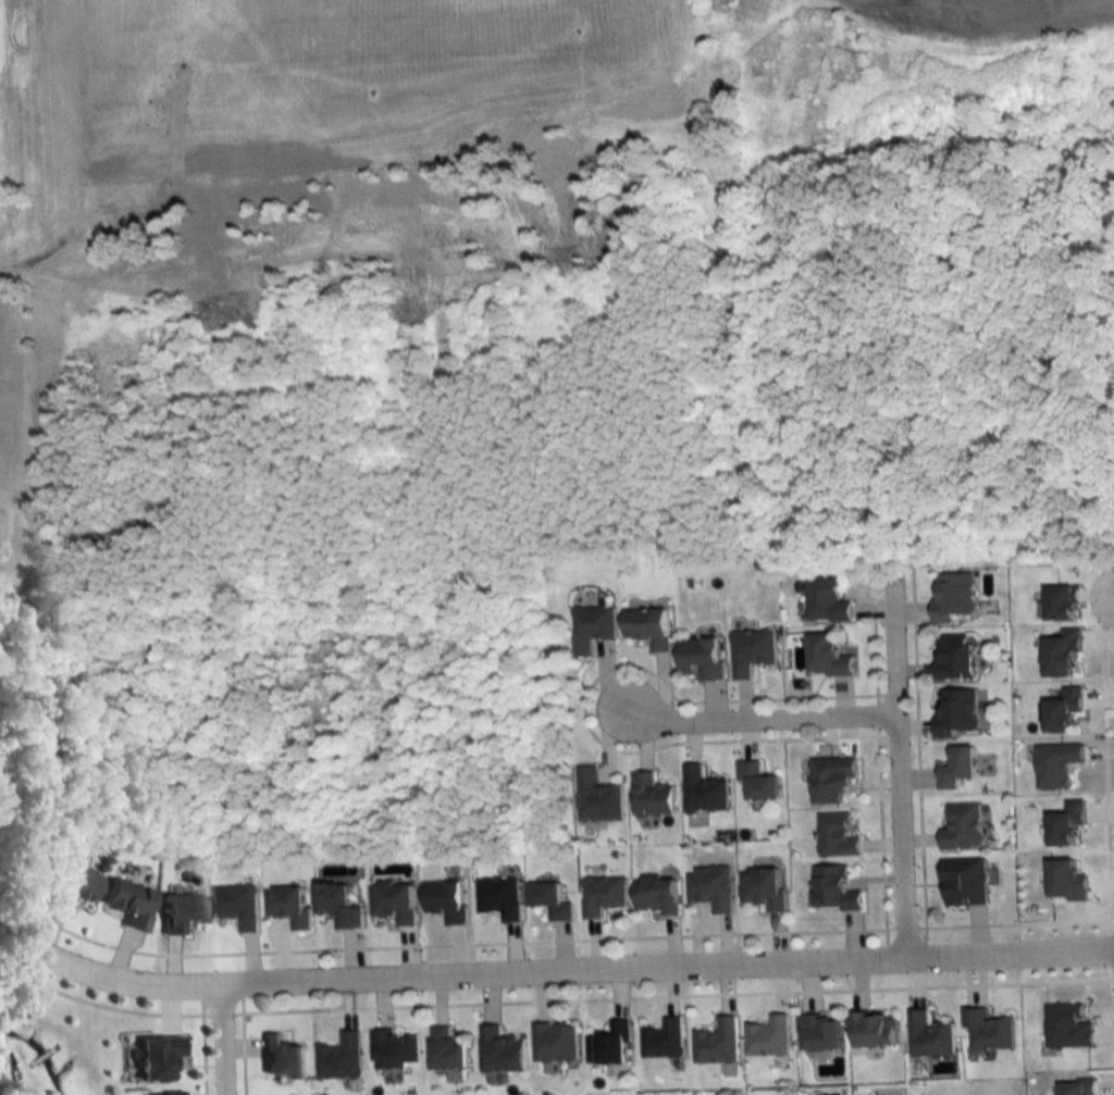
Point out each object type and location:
crop: (990, 12)
building: (953, 595)
building: (826, 601)
building: (591, 626)
building: (648, 626)
building: (752, 650)
building: (1062, 654)
building: (827, 656)
building: (954, 656)
building: (701, 657)
building: (1064, 709)
building: (957, 710)
road: (752, 719)
building: (1057, 763)
road: (895, 766)
building: (958, 767)
building: (832, 779)
building: (758, 781)
building: (704, 791)
building: (653, 795)
building: (598, 796)
building: (1067, 822)
building: (965, 826)
building: (838, 835)
building: (1067, 880)
building: (966, 881)
building: (72, 884)
building: (713, 886)
building: (765, 886)
building: (835, 888)
building: (604, 894)
building: (657, 894)
building: (500, 896)
building: (447, 899)
building: (552, 899)
building: (395, 900)
building: (124, 903)
building: (339, 904)
building: (237, 905)
building: (289, 905)
building: (177, 911)
road: (570, 970)
building: (874, 1029)
building: (988, 1030)
building: (820, 1032)
building: (929, 1035)
building: (768, 1036)
building: (664, 1038)
road: (221, 1041)
building: (556, 1042)
building: (717, 1042)
building: (610, 1044)
building: (395, 1049)
building: (447, 1050)
building: (502, 1050)
building: (152, 1057)
building: (342, 1057)
building: (280, 1058)
building: (1075, 1087)
building: (161, 1094)

